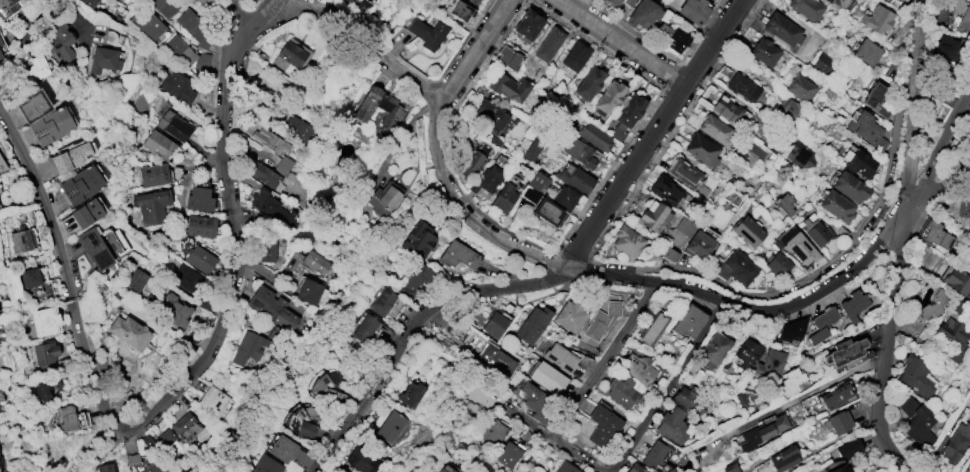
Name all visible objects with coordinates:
building: (124, 1)
building: (201, 1)
building: (477, 1)
building: (90, 2)
building: (617, 2)
building: (632, 2)
building: (844, 3)
building: (165, 6)
building: (8, 7)
building: (810, 8)
building: (457, 10)
building: (692, 10)
building: (644, 13)
building: (960, 16)
building: (876, 18)
building: (147, 22)
building: (191, 24)
road: (33, 25)
building: (527, 25)
road: (229, 28)
road: (253, 28)
building: (782, 29)
building: (427, 32)
building: (670, 36)
building: (60, 40)
building: (0, 42)
road: (623, 42)
building: (548, 44)
building: (948, 47)
road: (470, 49)
building: (179, 50)
building: (764, 51)
building: (867, 51)
building: (290, 55)
building: (0, 56)
building: (507, 56)
building: (575, 56)
building: (103, 59)
building: (822, 62)
building: (36, 68)
building: (589, 83)
building: (177, 86)
building: (508, 86)
building: (742, 86)
building: (801, 87)
park: (253, 95)
building: (608, 97)
building: (875, 99)
building: (33, 105)
building: (378, 106)
building: (729, 110)
building: (789, 110)
building: (627, 114)
building: (490, 115)
building: (51, 125)
building: (177, 127)
building: (298, 129)
building: (715, 129)
building: (866, 129)
road: (432, 130)
building: (594, 136)
building: (269, 140)
road: (647, 141)
building: (157, 144)
building: (532, 149)
building: (701, 149)
building: (579, 151)
building: (800, 155)
road: (937, 155)
building: (70, 156)
building: (858, 162)
building: (471, 163)
building: (282, 164)
building: (684, 173)
building: (153, 174)
building: (263, 174)
building: (575, 178)
building: (487, 179)
building: (537, 181)
building: (81, 184)
building: (850, 186)
road: (937, 186)
building: (665, 189)
building: (384, 197)
building: (503, 197)
building: (564, 197)
building: (199, 198)
building: (784, 203)
building: (153, 205)
building: (269, 205)
building: (542, 206)
building: (837, 206)
building: (963, 208)
building: (86, 212)
building: (652, 215)
building: (200, 225)
building: (684, 226)
building: (747, 230)
building: (815, 231)
building: (936, 233)
building: (418, 238)
building: (22, 239)
building: (627, 241)
building: (698, 245)
building: (798, 245)
road: (900, 246)
building: (94, 247)
building: (265, 249)
building: (669, 253)
building: (458, 254)
building: (199, 258)
building: (315, 262)
building: (777, 264)
building: (736, 267)
building: (30, 277)
building: (186, 277)
building: (136, 279)
road: (585, 279)
building: (414, 280)
building: (957, 280)
building: (308, 290)
building: (382, 301)
building: (853, 305)
building: (932, 305)
building: (271, 307)
building: (173, 308)
building: (570, 315)
building: (601, 320)
building: (45, 321)
building: (690, 321)
building: (495, 323)
building: (532, 324)
building: (822, 324)
building: (364, 327)
building: (652, 327)
building: (792, 329)
building: (129, 331)
building: (954, 336)
building: (248, 347)
building: (714, 349)
building: (45, 352)
building: (844, 352)
building: (747, 353)
building: (559, 357)
building: (501, 362)
road: (605, 364)
building: (770, 364)
building: (638, 367)
building: (916, 375)
building: (546, 376)
building: (790, 381)
building: (326, 383)
building: (39, 390)
road: (667, 390)
building: (622, 391)
building: (410, 393)
building: (836, 396)
building: (477, 398)
building: (741, 398)
building: (692, 399)
building: (213, 401)
building: (538, 402)
road: (160, 416)
building: (69, 418)
building: (838, 421)
building: (917, 422)
building: (672, 424)
building: (390, 426)
building: (603, 426)
building: (185, 427)
building: (305, 429)
building: (493, 430)
building: (761, 432)
building: (167, 439)
building: (956, 442)
road: (556, 446)
building: (848, 447)
building: (282, 448)
road: (105, 449)
building: (507, 454)
building: (655, 454)
building: (783, 457)
building: (361, 459)
building: (266, 464)
building: (154, 466)
building: (106, 467)
building: (565, 467)
building: (635, 467)
building: (730, 467)
building: (840, 468)
building: (441, 470)
building: (451, 470)

